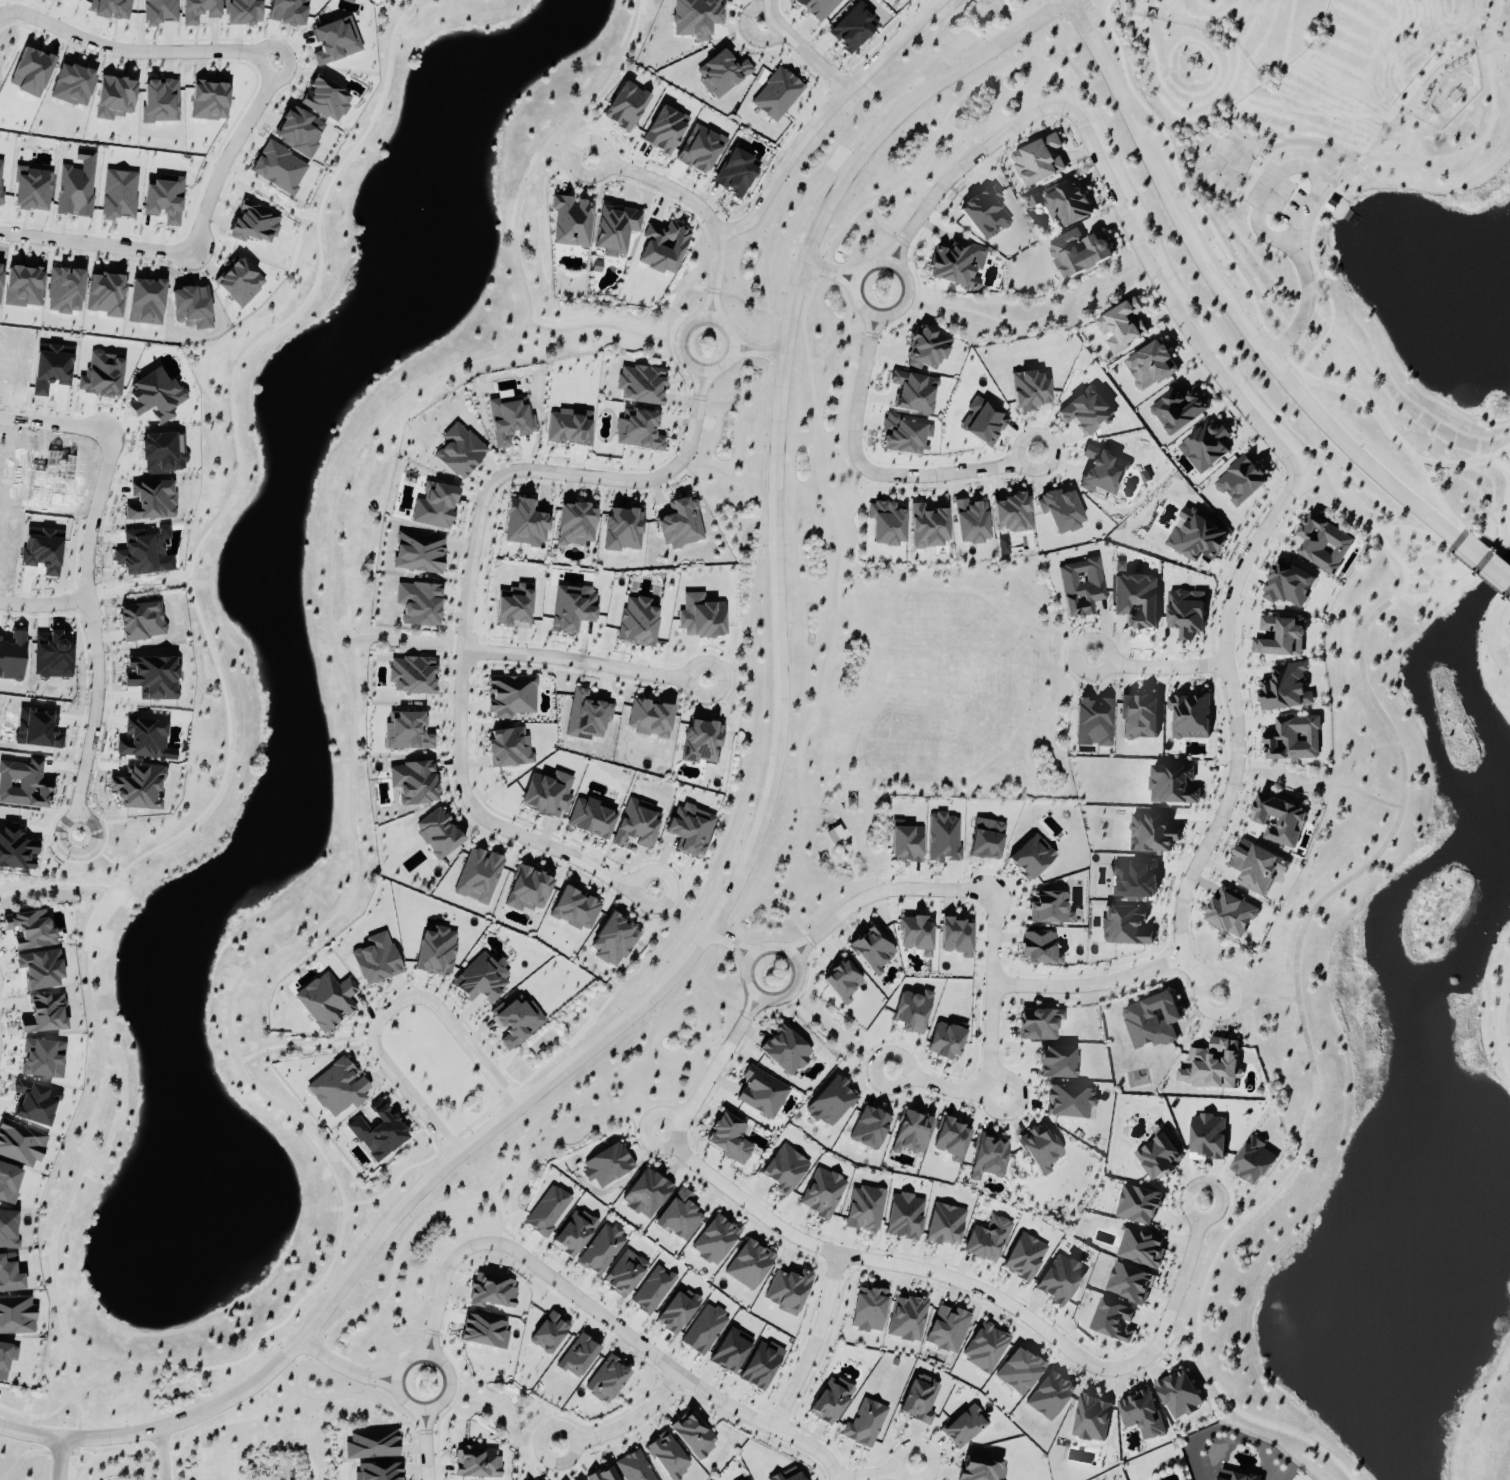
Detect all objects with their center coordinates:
road: (770, 1)
road: (1098, 4)
building: (818, 8)
road: (1145, 9)
building: (197, 10)
building: (157, 11)
building: (242, 12)
road: (1116, 14)
road: (1066, 17)
building: (695, 18)
building: (852, 28)
road: (746, 30)
road: (1158, 37)
building: (335, 41)
road: (1492, 46)
road: (803, 49)
building: (1192, 64)
road: (1435, 73)
building: (721, 74)
road: (867, 85)
building: (776, 94)
building: (325, 99)
building: (159, 101)
building: (626, 107)
road: (823, 115)
road: (242, 121)
building: (665, 130)
road: (1403, 134)
road: (1288, 146)
building: (699, 150)
park: (1326, 151)
road: (1375, 156)
building: (1038, 160)
park: (1228, 161)
building: (278, 168)
road: (959, 168)
road: (1253, 169)
road: (1338, 172)
building: (735, 173)
road: (785, 186)
building: (31, 189)
building: (74, 191)
road: (1266, 195)
building: (164, 200)
building: (1062, 202)
road: (697, 205)
building: (985, 213)
building: (571, 221)
building: (253, 224)
road: (882, 224)
building: (615, 230)
road: (1206, 243)
building: (663, 248)
building: (1078, 252)
road: (1218, 257)
building: (957, 265)
road: (830, 270)
road: (1304, 272)
road: (686, 285)
road: (1248, 289)
building: (63, 291)
road: (731, 292)
building: (104, 295)
road: (907, 298)
road: (1226, 300)
road: (1033, 321)
road: (598, 324)
building: (1121, 326)
road: (729, 327)
road: (838, 339)
building: (926, 350)
road: (760, 351)
building: (1149, 365)
building: (101, 376)
building: (640, 385)
building: (1031, 390)
building: (914, 393)
building: (155, 396)
road: (728, 398)
building: (1178, 410)
building: (1086, 411)
building: (509, 421)
road: (56, 422)
building: (983, 422)
building: (568, 428)
building: (638, 431)
building: (902, 436)
building: (1204, 447)
building: (459, 452)
building: (162, 453)
road: (1497, 453)
road: (845, 460)
road: (706, 464)
road: (872, 471)
building: (1102, 472)
road: (850, 473)
building: (1240, 480)
road: (881, 487)
building: (151, 501)
building: (435, 507)
building: (1061, 511)
building: (1012, 514)
building: (971, 522)
road: (1505, 523)
building: (524, 524)
building: (681, 524)
building: (887, 524)
building: (575, 525)
building: (928, 527)
road: (1262, 528)
building: (622, 530)
building: (1197, 537)
building: (1322, 543)
building: (418, 553)
building: (140, 554)
road: (1485, 564)
road: (835, 566)
building: (1119, 567)
building: (1288, 585)
building: (1081, 587)
road: (467, 598)
building: (1136, 600)
road: (43, 603)
building: (418, 604)
building: (514, 607)
building: (572, 608)
building: (1185, 613)
building: (701, 617)
building: (140, 622)
building: (637, 622)
road: (91, 630)
building: (1279, 637)
road: (398, 638)
road: (751, 648)
building: (11, 657)
road: (584, 662)
road: (1159, 667)
road: (728, 670)
building: (411, 676)
building: (152, 678)
building: (1284, 688)
building: (510, 696)
road: (217, 698)
park: (914, 702)
road: (351, 715)
building: (586, 717)
building: (1140, 717)
building: (1189, 717)
building: (649, 719)
building: (1094, 723)
building: (406, 732)
building: (1293, 739)
building: (144, 741)
building: (702, 742)
building: (509, 749)
building: (413, 783)
road: (1318, 783)
building: (23, 785)
building: (1171, 786)
building: (137, 789)
building: (547, 795)
road: (832, 802)
road: (830, 807)
building: (591, 818)
building: (1279, 821)
building: (635, 826)
building: (690, 830)
building: (437, 834)
road: (757, 834)
building: (1151, 834)
building: (942, 838)
road: (854, 842)
building: (988, 842)
building: (906, 845)
building: (15, 849)
building: (1031, 859)
road: (834, 865)
building: (1256, 868)
road: (854, 869)
road: (915, 875)
building: (478, 876)
building: (1134, 879)
road: (848, 881)
road: (54, 884)
building: (528, 890)
road: (882, 892)
road: (668, 905)
building: (1050, 909)
building: (575, 910)
road: (788, 911)
building: (1230, 913)
building: (1125, 926)
building: (30, 930)
building: (916, 935)
building: (955, 938)
building: (613, 941)
road: (731, 941)
building: (1038, 948)
building: (872, 951)
building: (436, 952)
building: (376, 960)
building: (480, 980)
building: (842, 982)
road: (1091, 984)
road: (993, 994)
road: (784, 995)
road: (1257, 998)
road: (724, 999)
building: (326, 1001)
road: (387, 1008)
building: (912, 1012)
building: (44, 1015)
road: (1502, 1020)
building: (1152, 1021)
building: (1039, 1025)
road: (836, 1033)
building: (945, 1042)
road: (303, 1046)
building: (785, 1051)
building: (42, 1059)
road: (1310, 1061)
road: (718, 1062)
building: (1058, 1064)
building: (1211, 1066)
road: (932, 1082)
building: (338, 1088)
building: (761, 1093)
building: (830, 1102)
building: (1069, 1103)
building: (32, 1104)
road: (1019, 1107)
road: (626, 1116)
building: (871, 1124)
road: (645, 1126)
building: (912, 1133)
building: (378, 1134)
building: (1207, 1137)
building: (729, 1138)
building: (951, 1139)
building: (20, 1144)
building: (1041, 1149)
road: (640, 1150)
building: (988, 1156)
building: (1158, 1156)
building: (1253, 1161)
building: (607, 1165)
building: (784, 1170)
building: (8, 1185)
building: (822, 1193)
building: (646, 1194)
building: (1138, 1204)
building: (864, 1209)
building: (547, 1211)
building: (679, 1216)
building: (904, 1216)
building: (945, 1224)
building: (8, 1230)
building: (573, 1233)
building: (714, 1240)
building: (987, 1240)
building: (1140, 1246)
building: (601, 1249)
building: (1024, 1257)
building: (749, 1264)
building: (625, 1273)
building: (9, 1274)
building: (1059, 1280)
building: (1128, 1282)
road: (985, 1285)
building: (653, 1290)
building: (491, 1291)
building: (788, 1291)
road: (437, 1296)
building: (869, 1310)
building: (677, 1311)
building: (16, 1315)
building: (907, 1318)
road: (404, 1319)
building: (1112, 1320)
building: (947, 1329)
building: (704, 1330)
building: (484, 1331)
building: (549, 1333)
road: (815, 1342)
building: (985, 1348)
building: (730, 1351)
road: (653, 1354)
building: (578, 1356)
building: (6, 1357)
building: (760, 1365)
road: (344, 1368)
building: (1019, 1371)
building: (606, 1380)
building: (1179, 1394)
road: (365, 1396)
building: (1049, 1396)
building: (920, 1399)
building: (830, 1400)
road: (427, 1409)
building: (1141, 1414)
road: (35, 1417)
building: (1090, 1418)
building: (864, 1423)
road: (628, 1424)
building: (964, 1426)
road: (30, 1433)
building: (693, 1434)
building: (372, 1445)
road: (425, 1445)
road: (42, 1449)
road: (162, 1453)
park: (170, 1454)
road: (198, 1456)
building: (668, 1457)
road: (59, 1458)
road: (218, 1460)
building: (477, 1463)
road: (141, 1465)
building: (634, 1467)
building: (982, 1468)
building: (378, 1471)
road: (874, 1474)
building: (604, 1475)
building: (787, 1475)
building: (1234, 1476)
building: (746, 1479)
road: (834, 1479)

